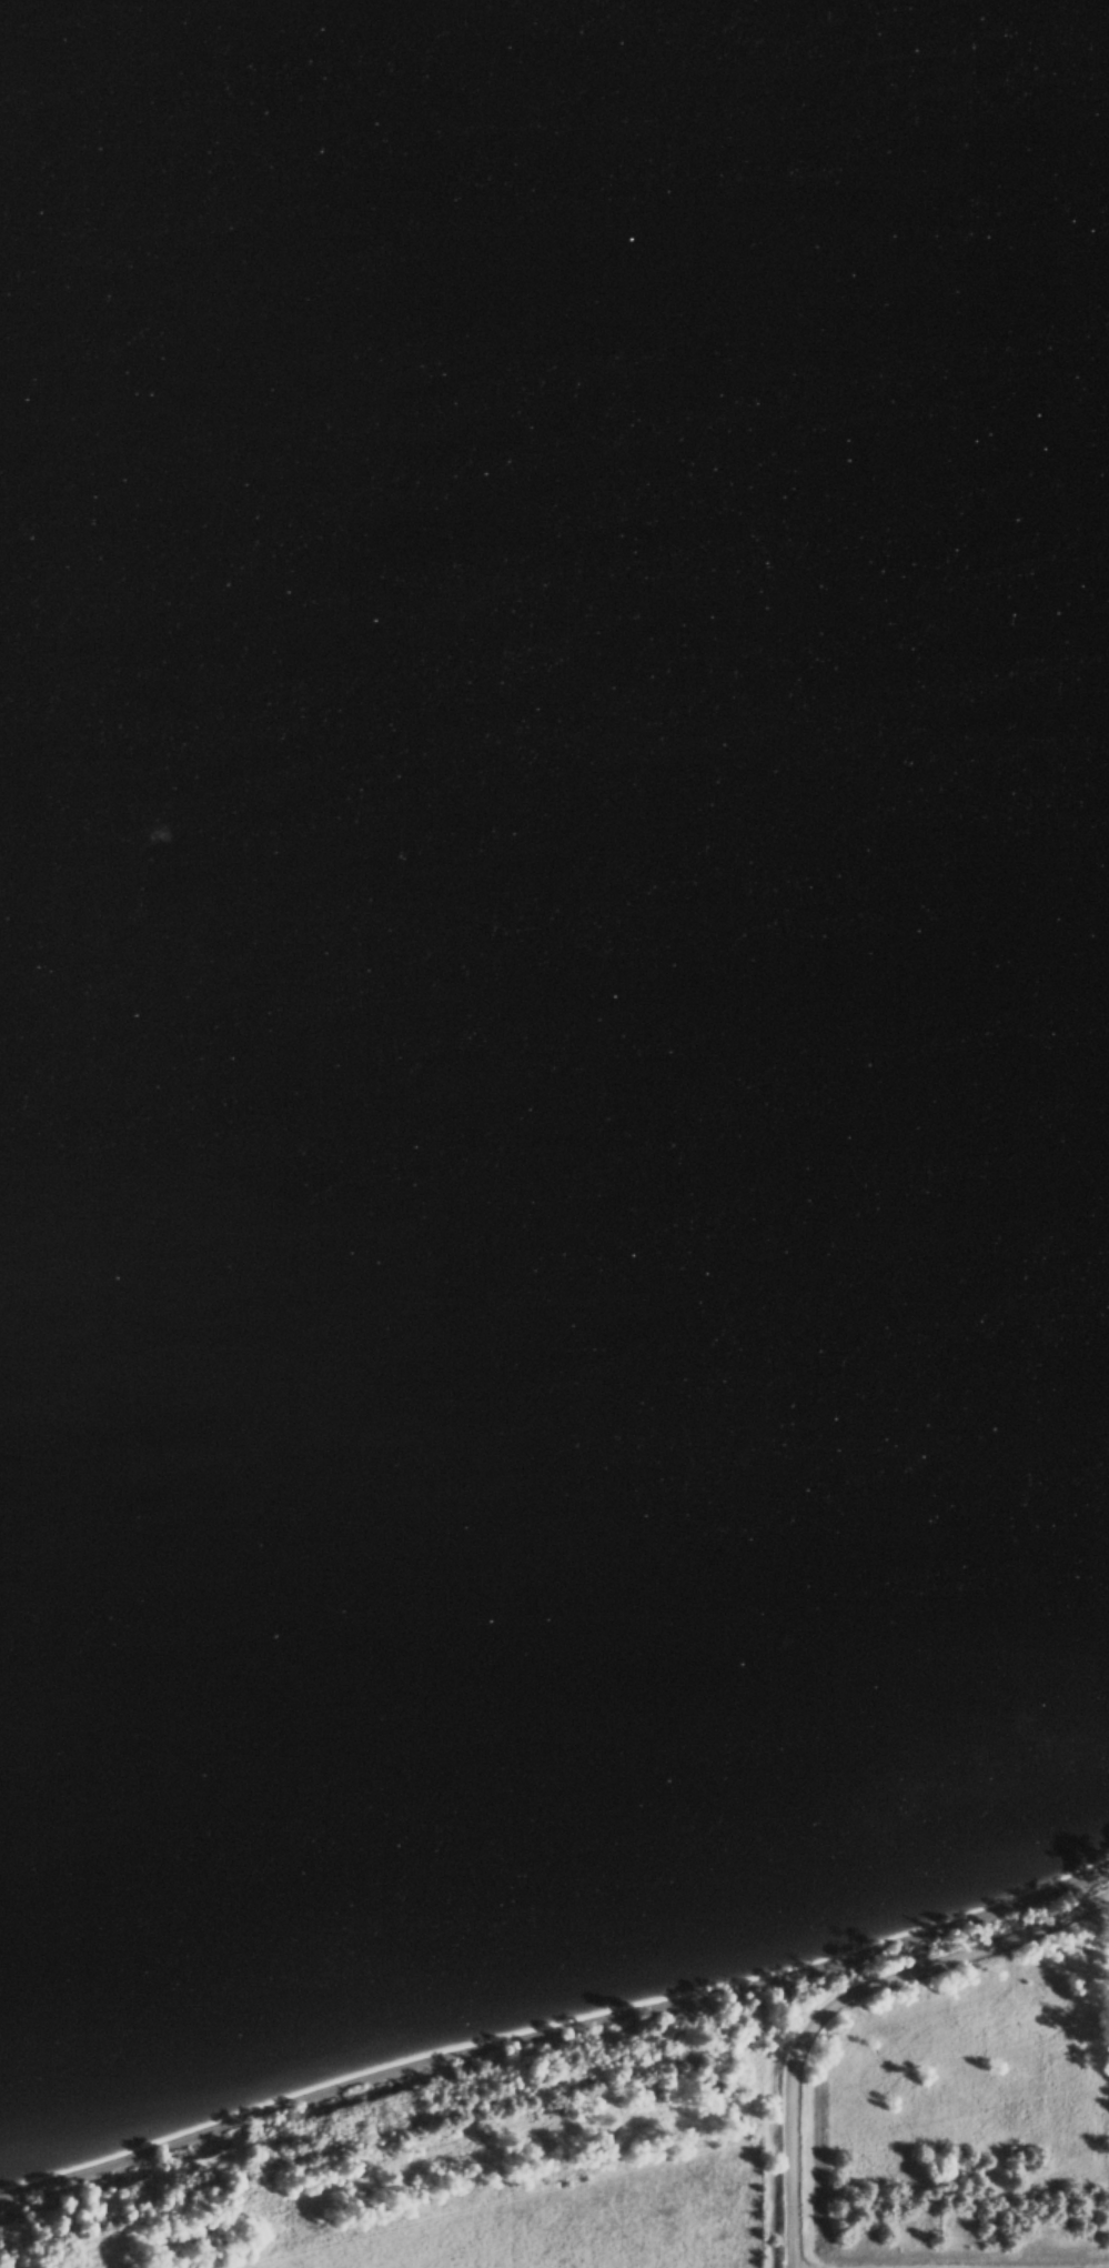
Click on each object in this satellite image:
road: (851, 2006)

